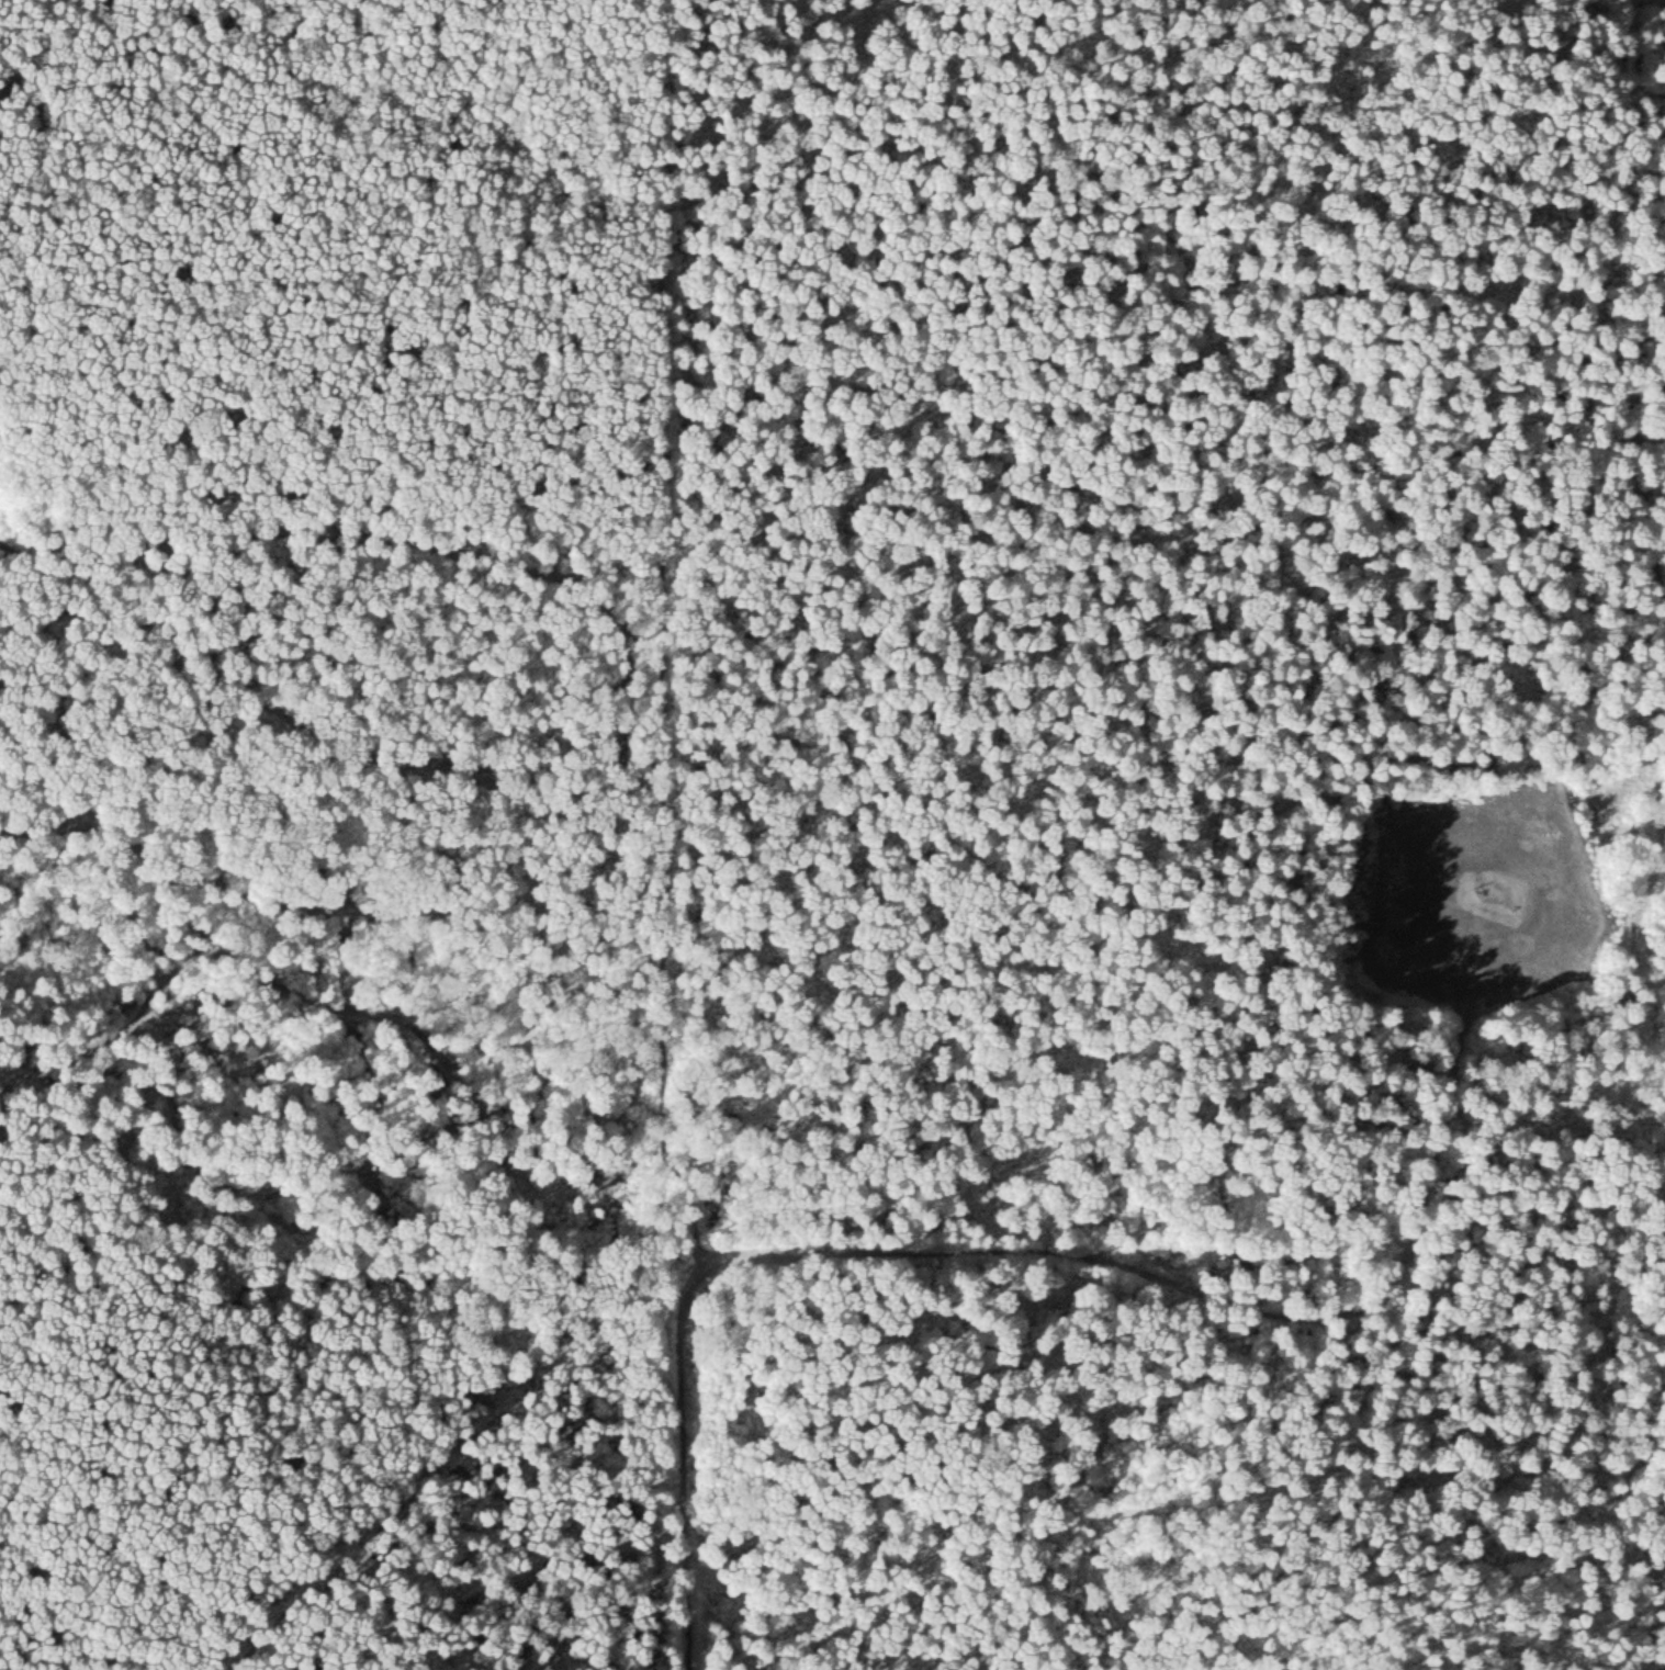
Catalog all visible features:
road: (1655, 7)
road: (1641, 825)
road: (1573, 1514)

